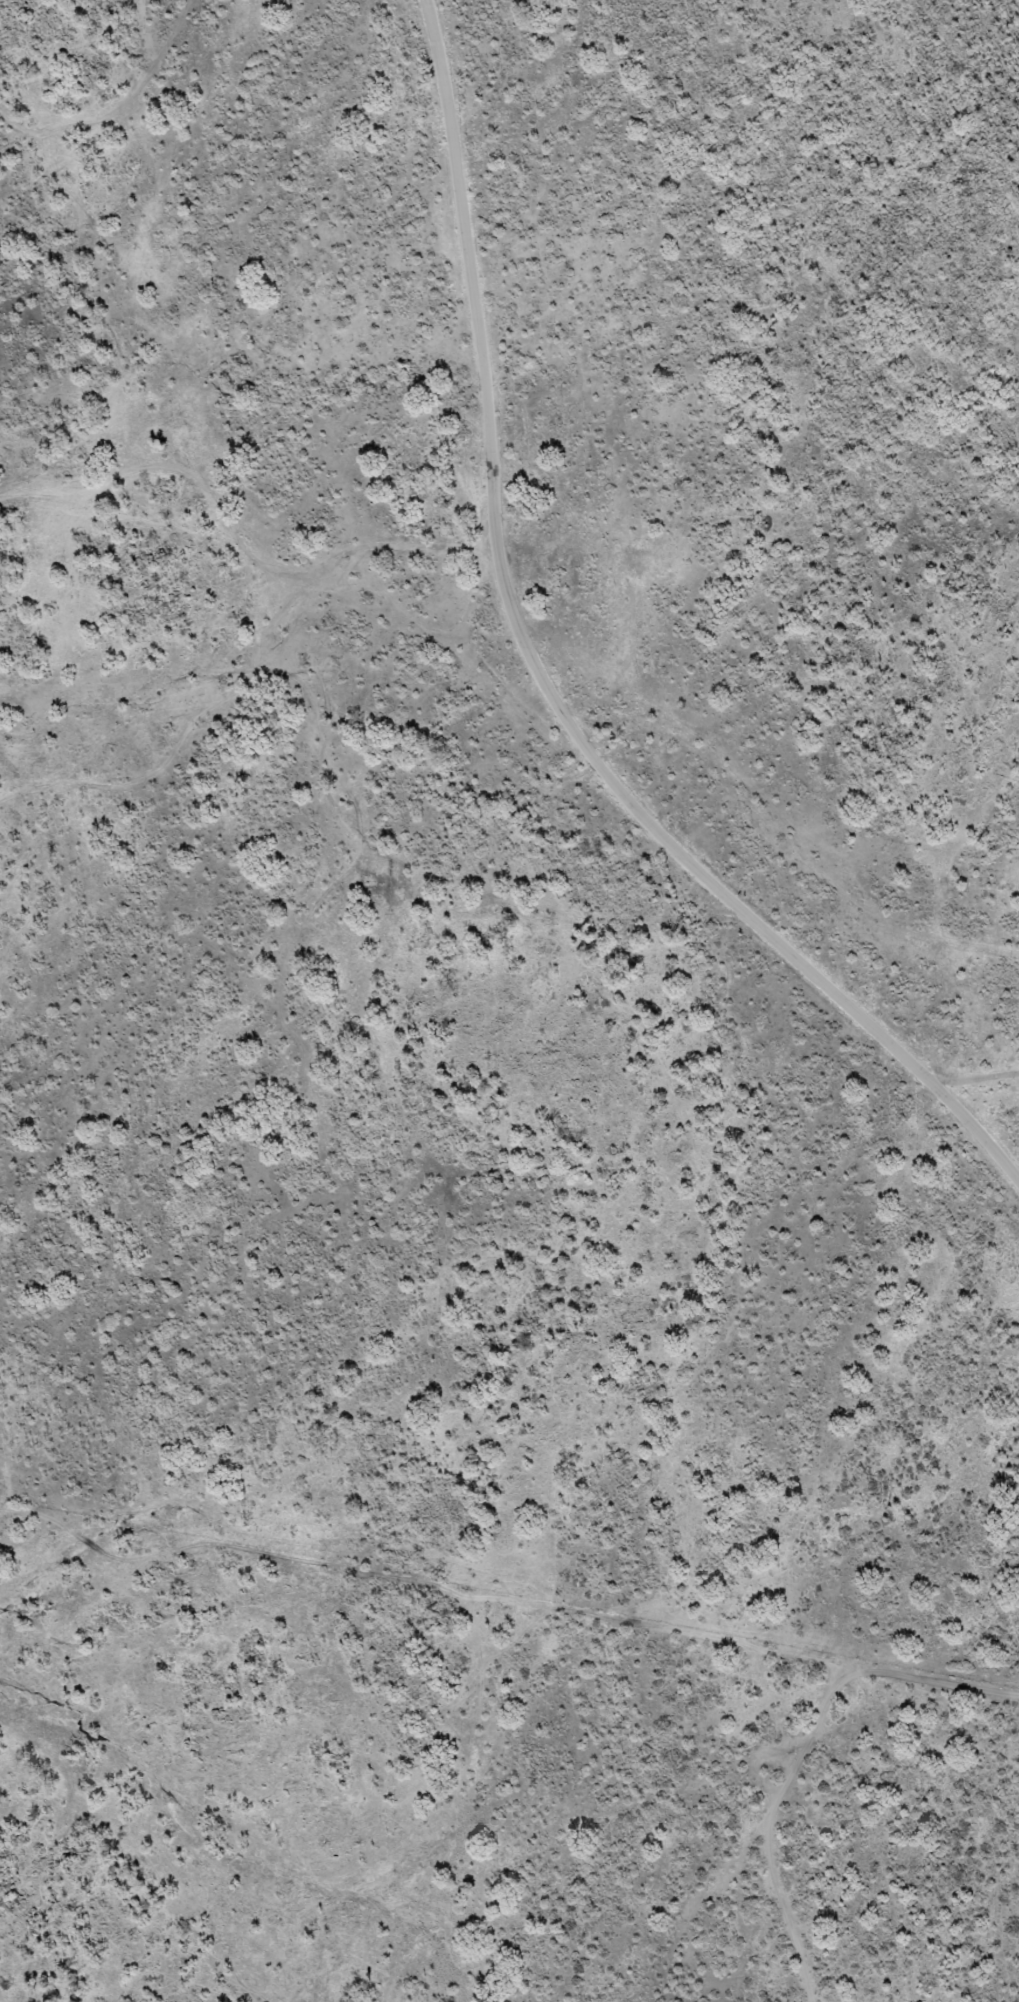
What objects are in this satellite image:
road: (543, 681)
road: (797, 1749)

